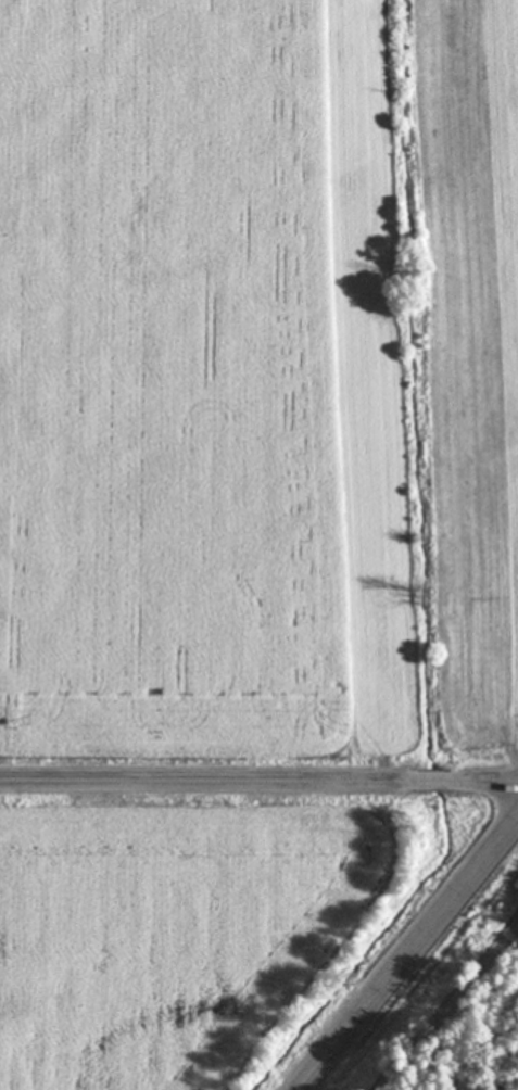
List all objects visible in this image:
road: (258, 781)
road: (412, 955)
road: (450, 1005)

